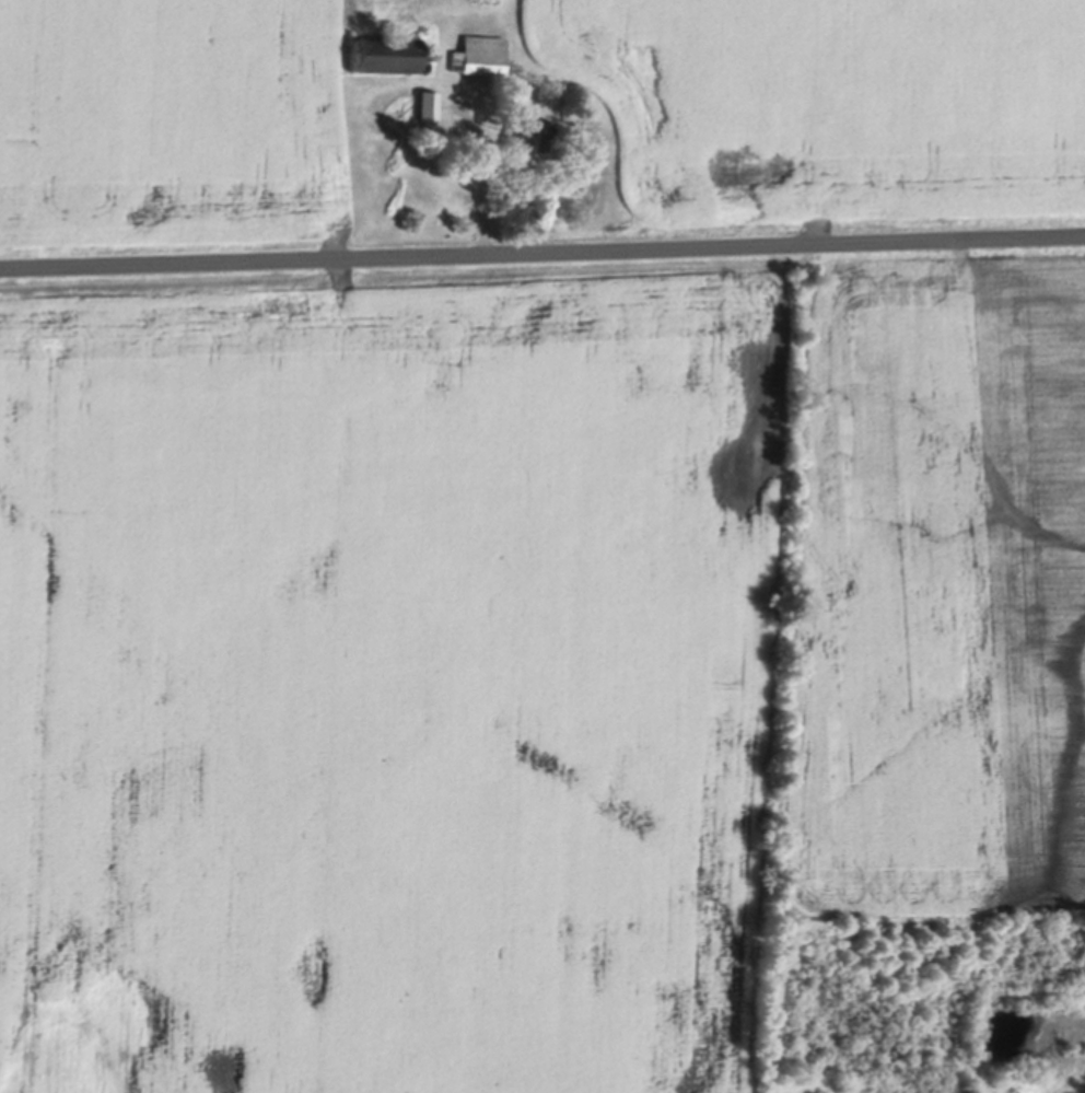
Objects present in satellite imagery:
building: (482, 3)
building: (377, 53)
building: (478, 54)
building: (427, 104)
building: (525, 131)
road: (483, 206)
road: (542, 248)

